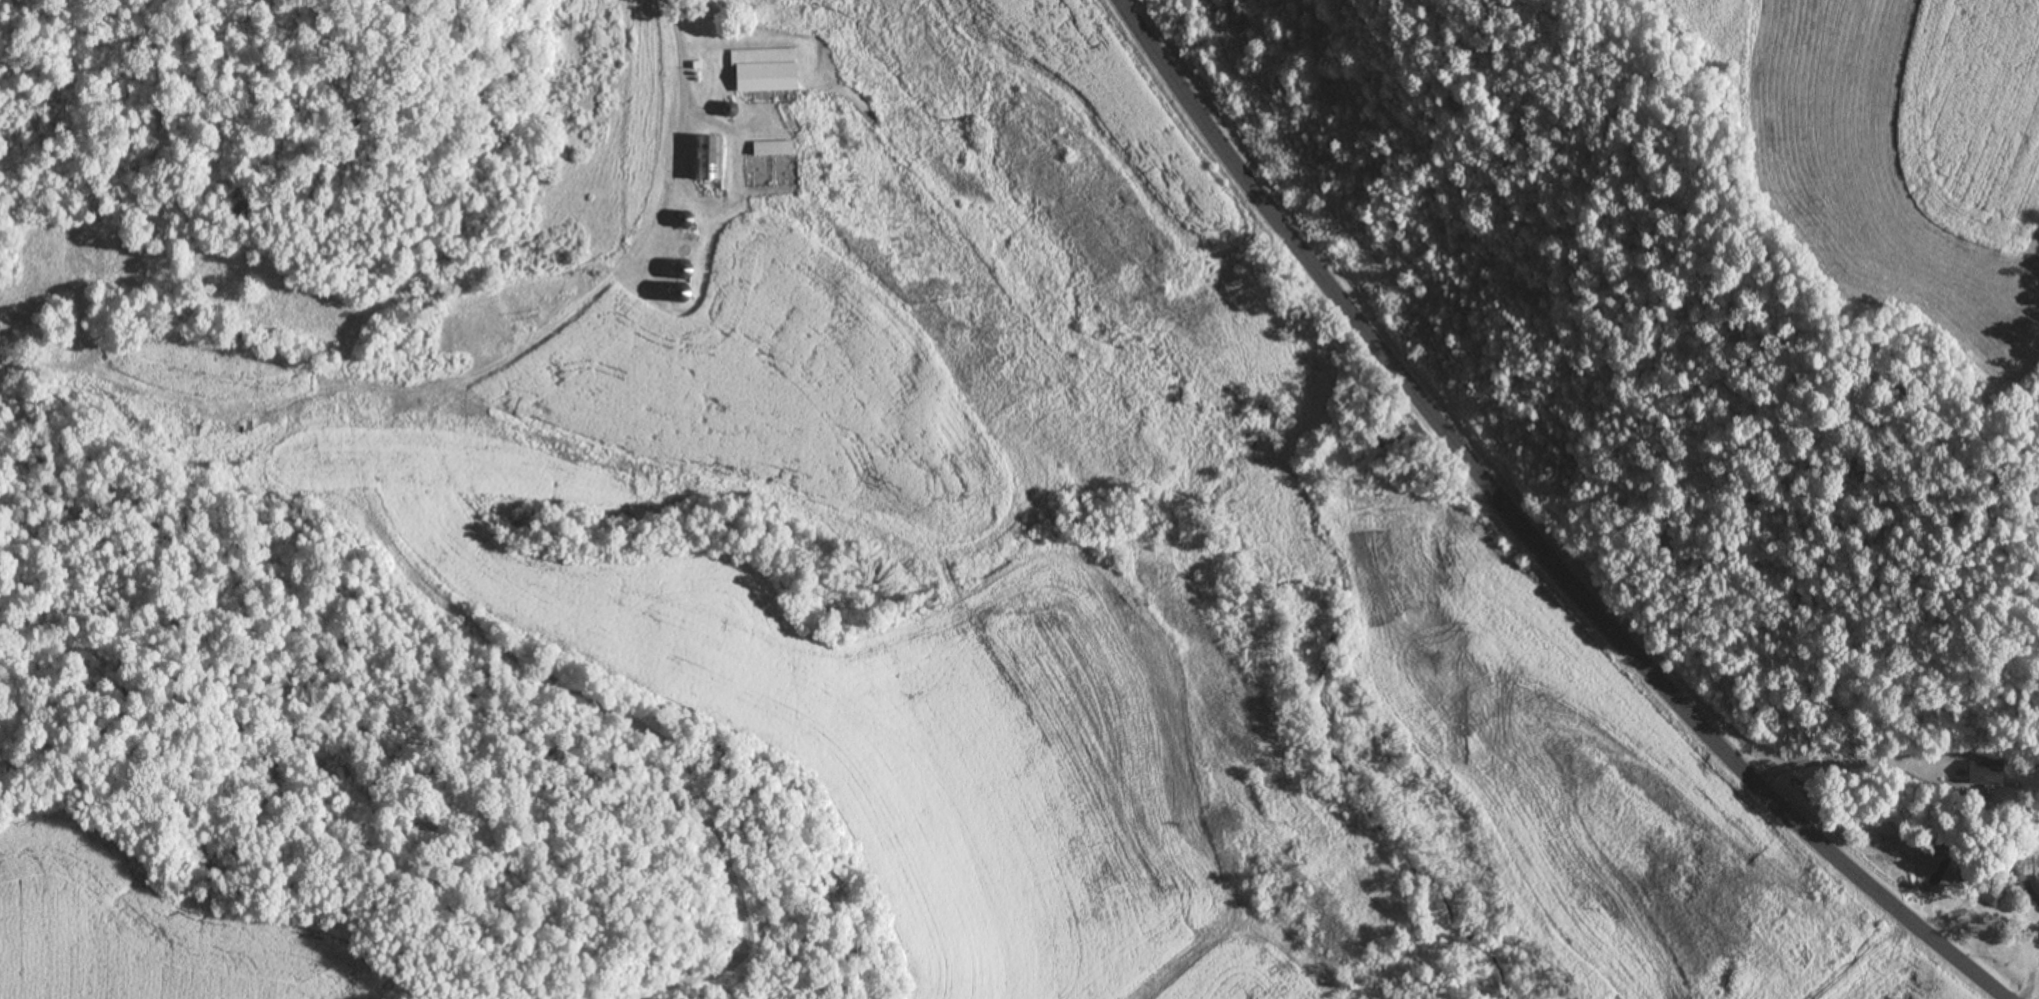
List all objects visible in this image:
building: (764, 56)
building: (772, 148)
building: (714, 159)
road: (1528, 531)
road: (1850, 759)
building: (1978, 771)
building: (1988, 895)

